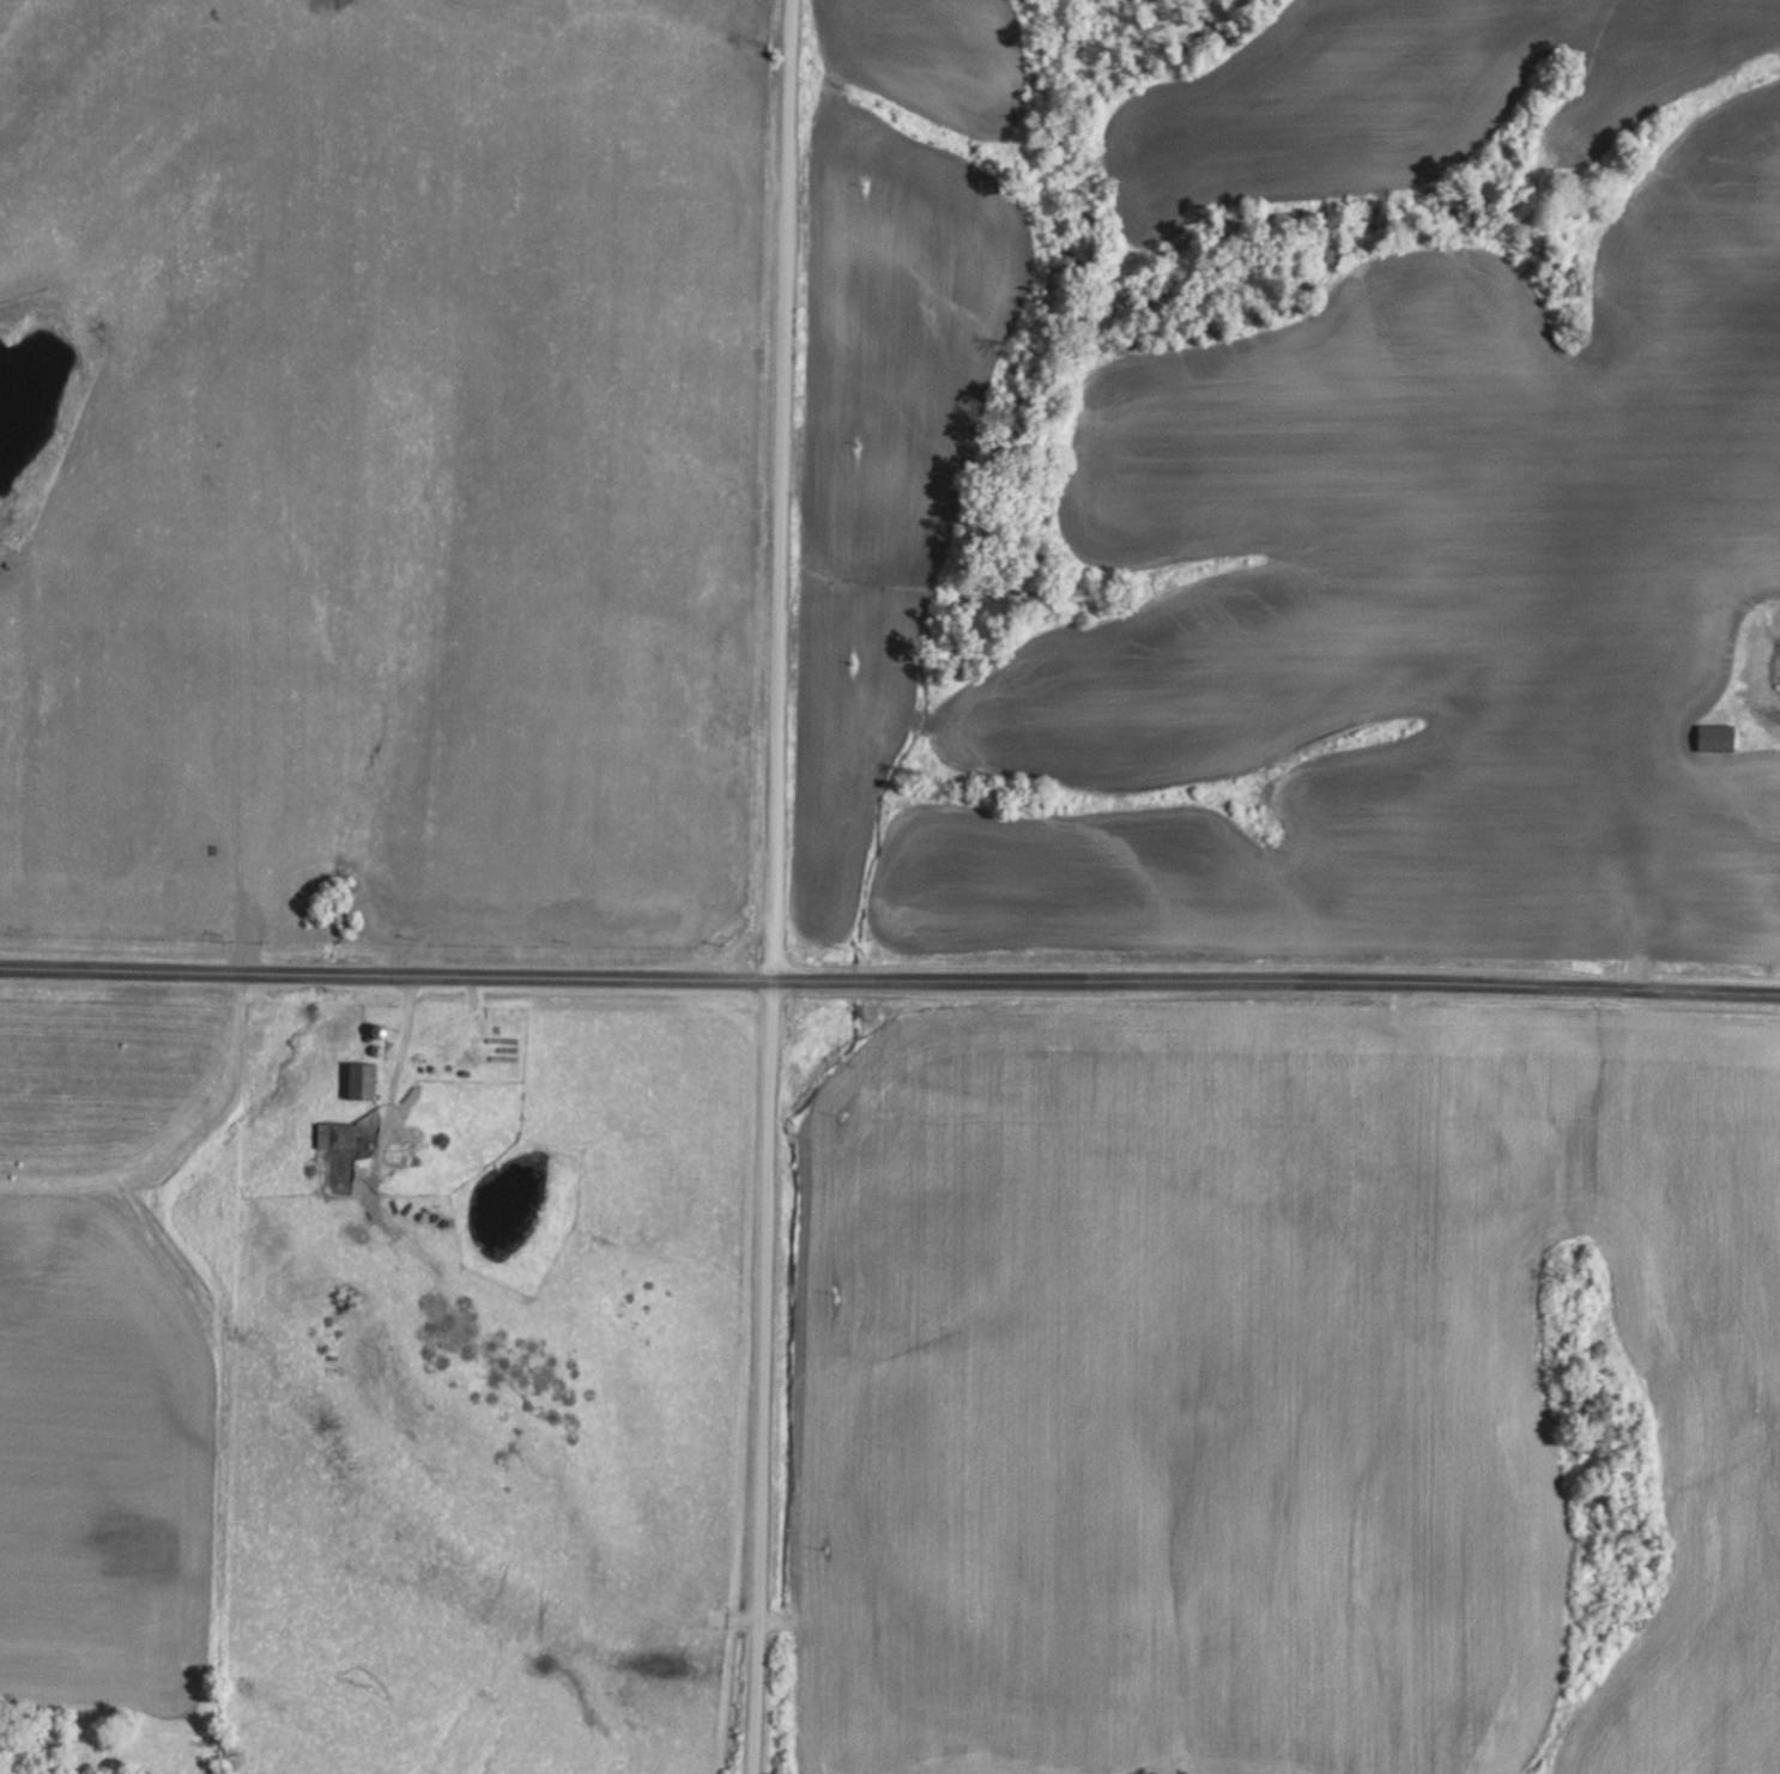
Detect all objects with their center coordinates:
road: (776, 491)
building: (1718, 739)
road: (890, 981)
building: (363, 1083)
building: (337, 1138)
road: (765, 1379)

